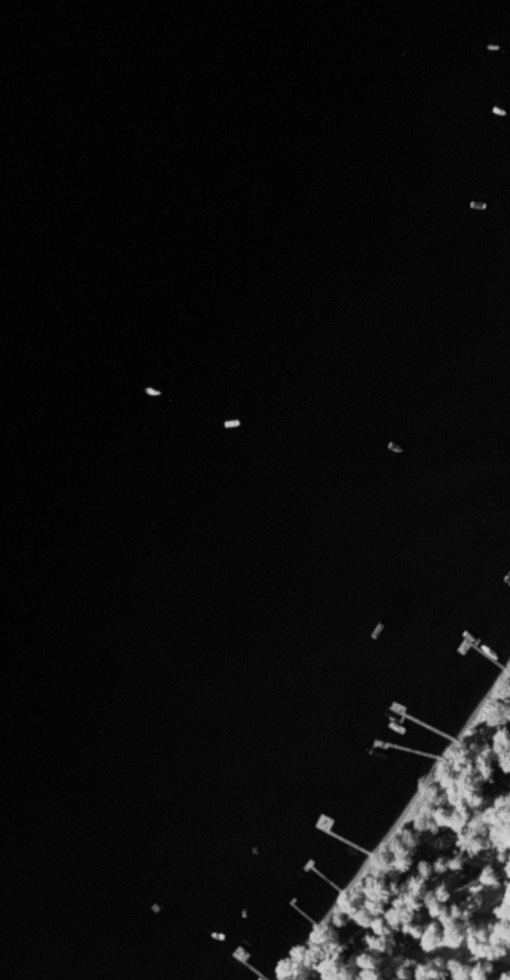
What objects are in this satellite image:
building: (499, 783)
road: (420, 920)

